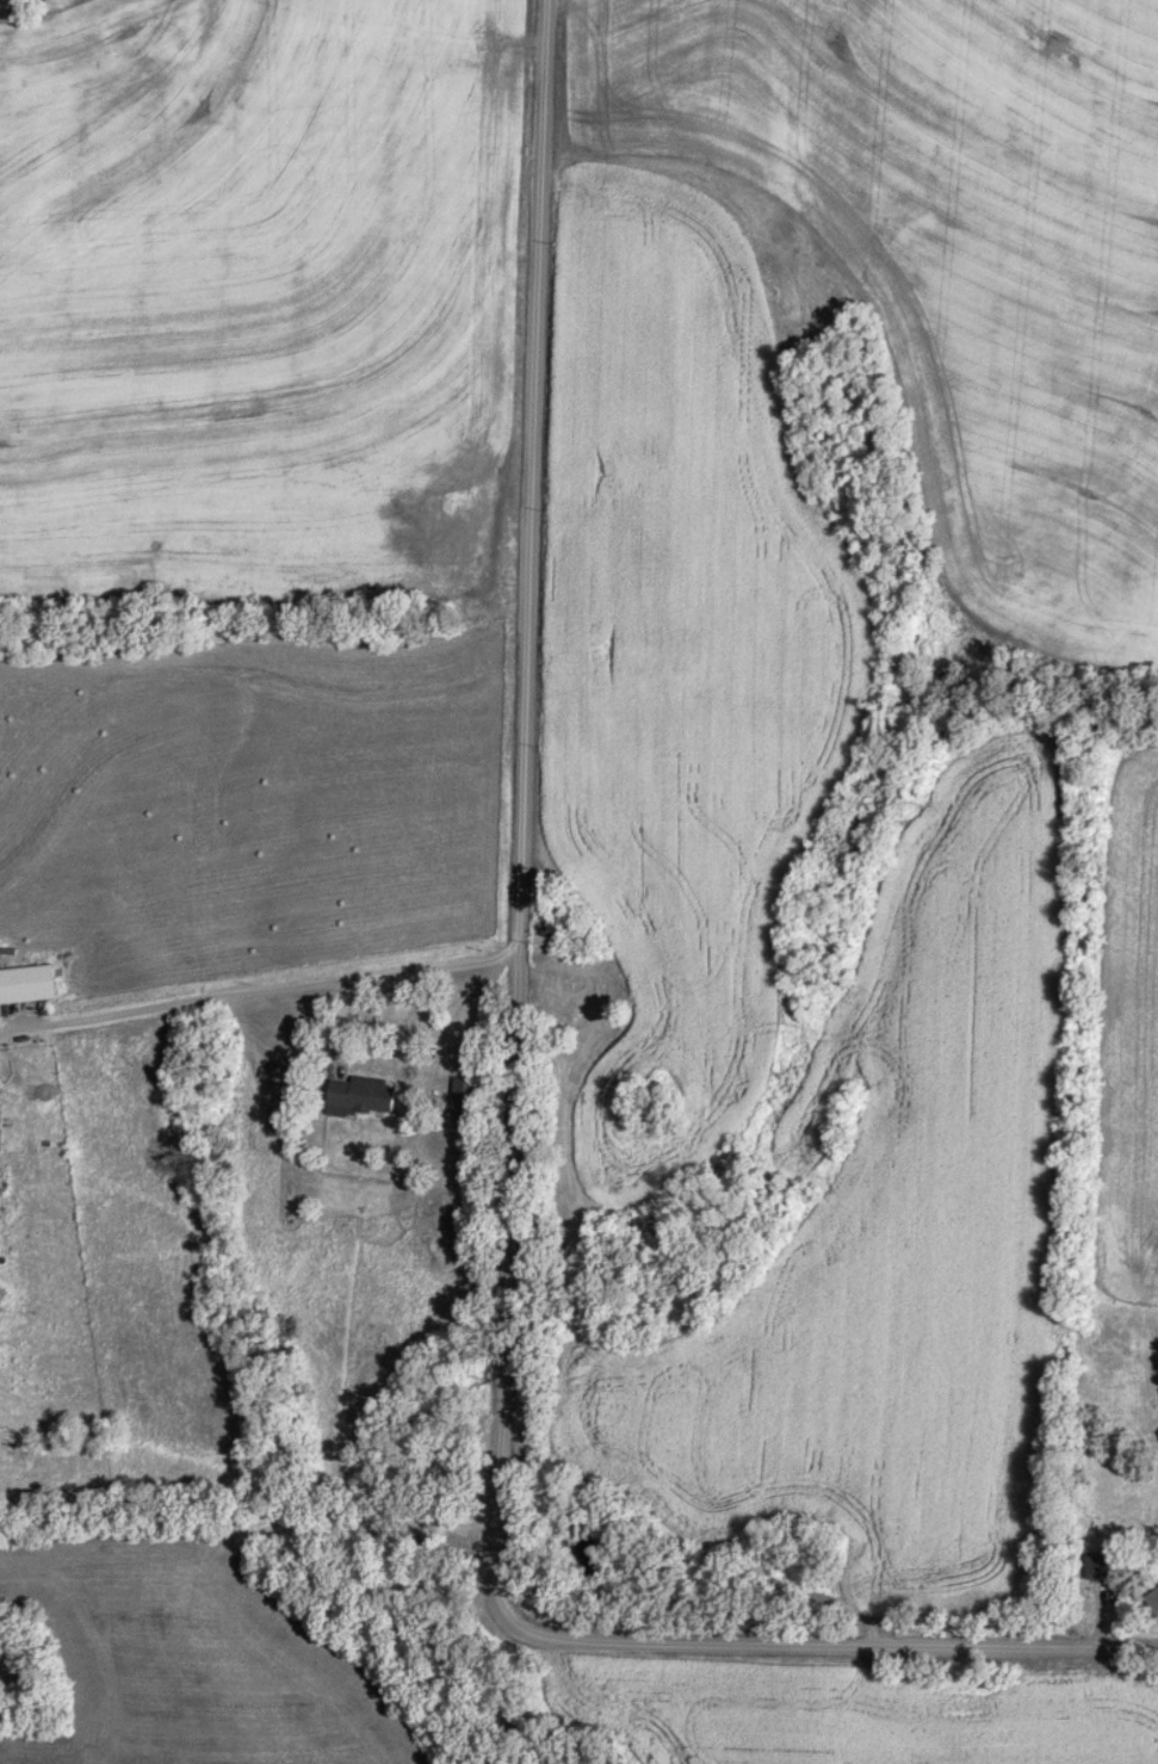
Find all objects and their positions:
building: (27, 984)
road: (258, 990)
building: (364, 1095)
building: (466, 1097)
building: (0, 1143)
road: (510, 1150)
building: (1107, 1565)
building: (1153, 1599)

